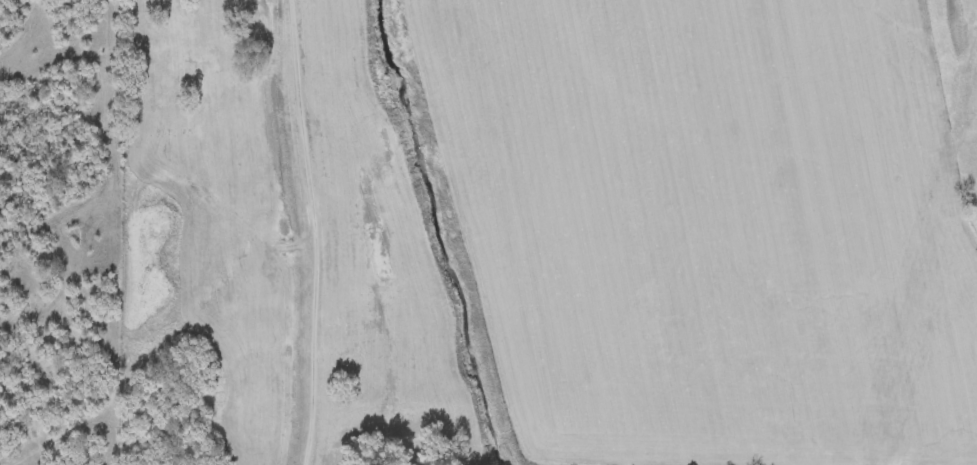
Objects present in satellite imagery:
road: (312, 232)

